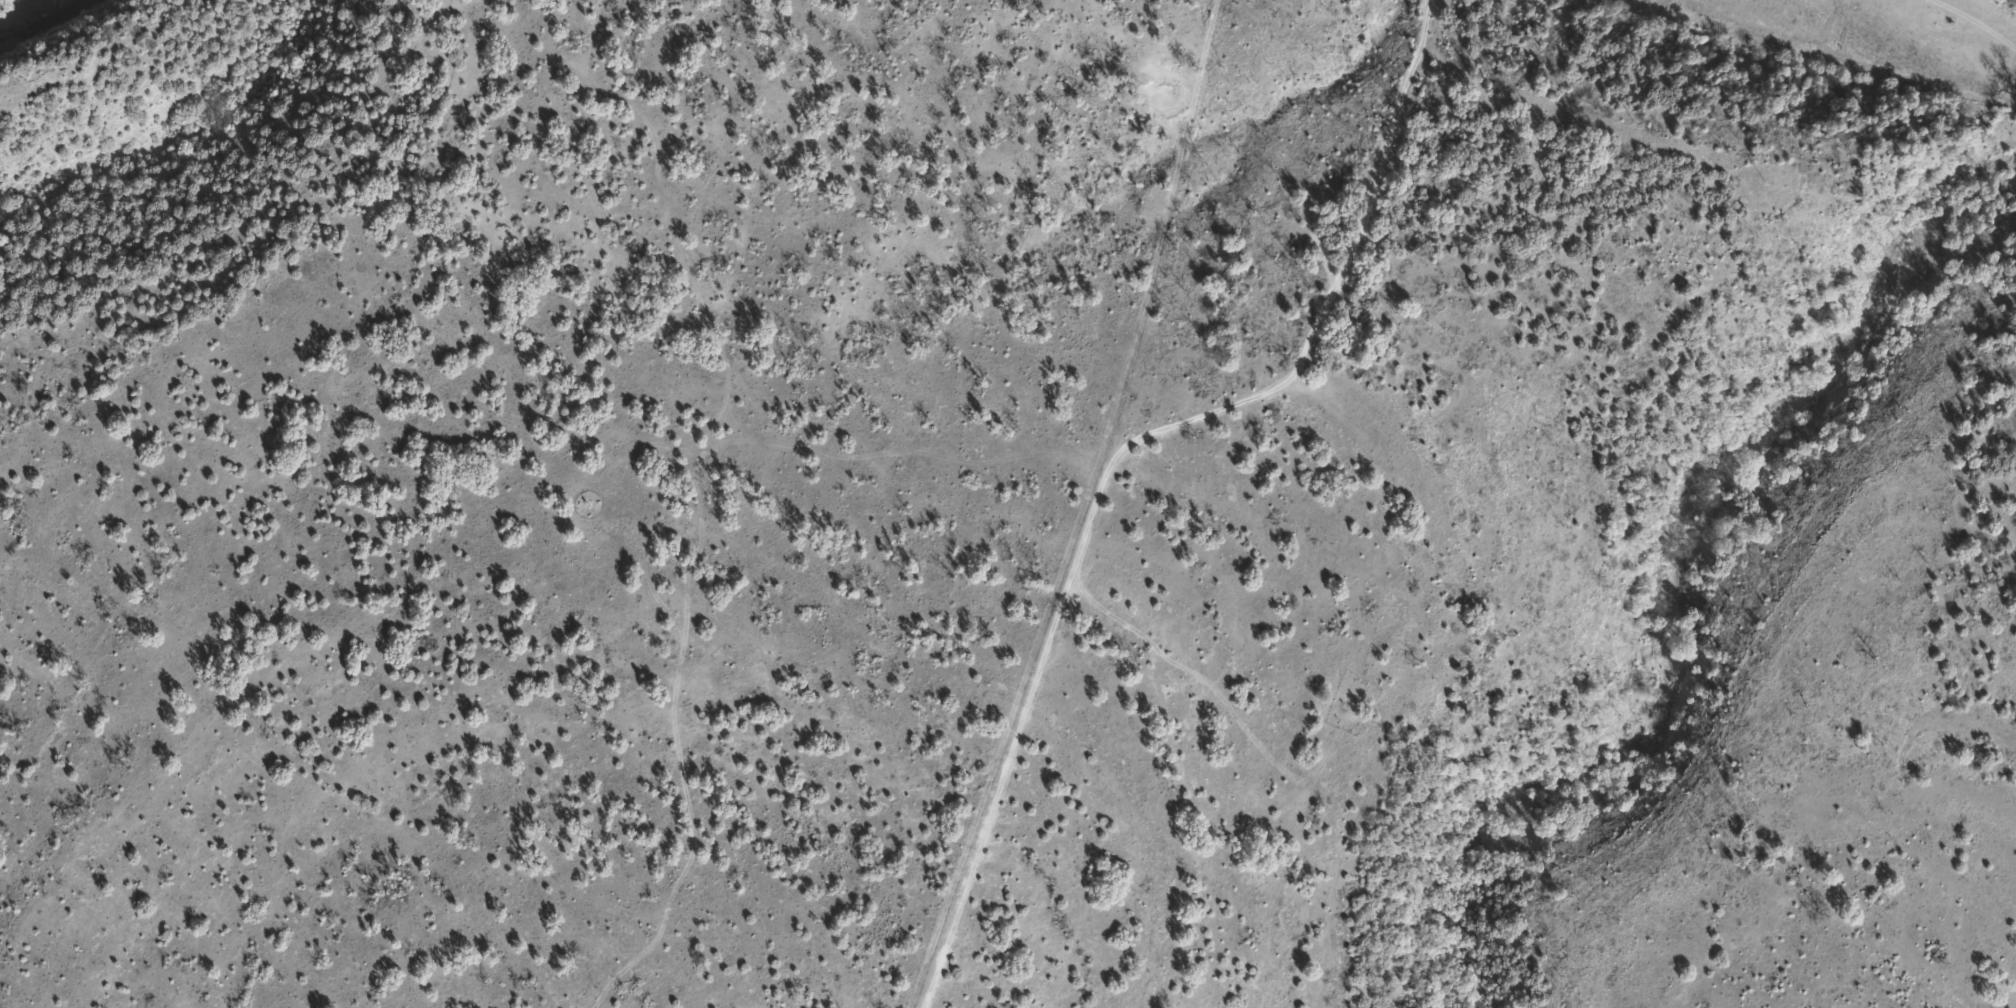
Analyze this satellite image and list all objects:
road: (1166, 476)
road: (711, 512)

